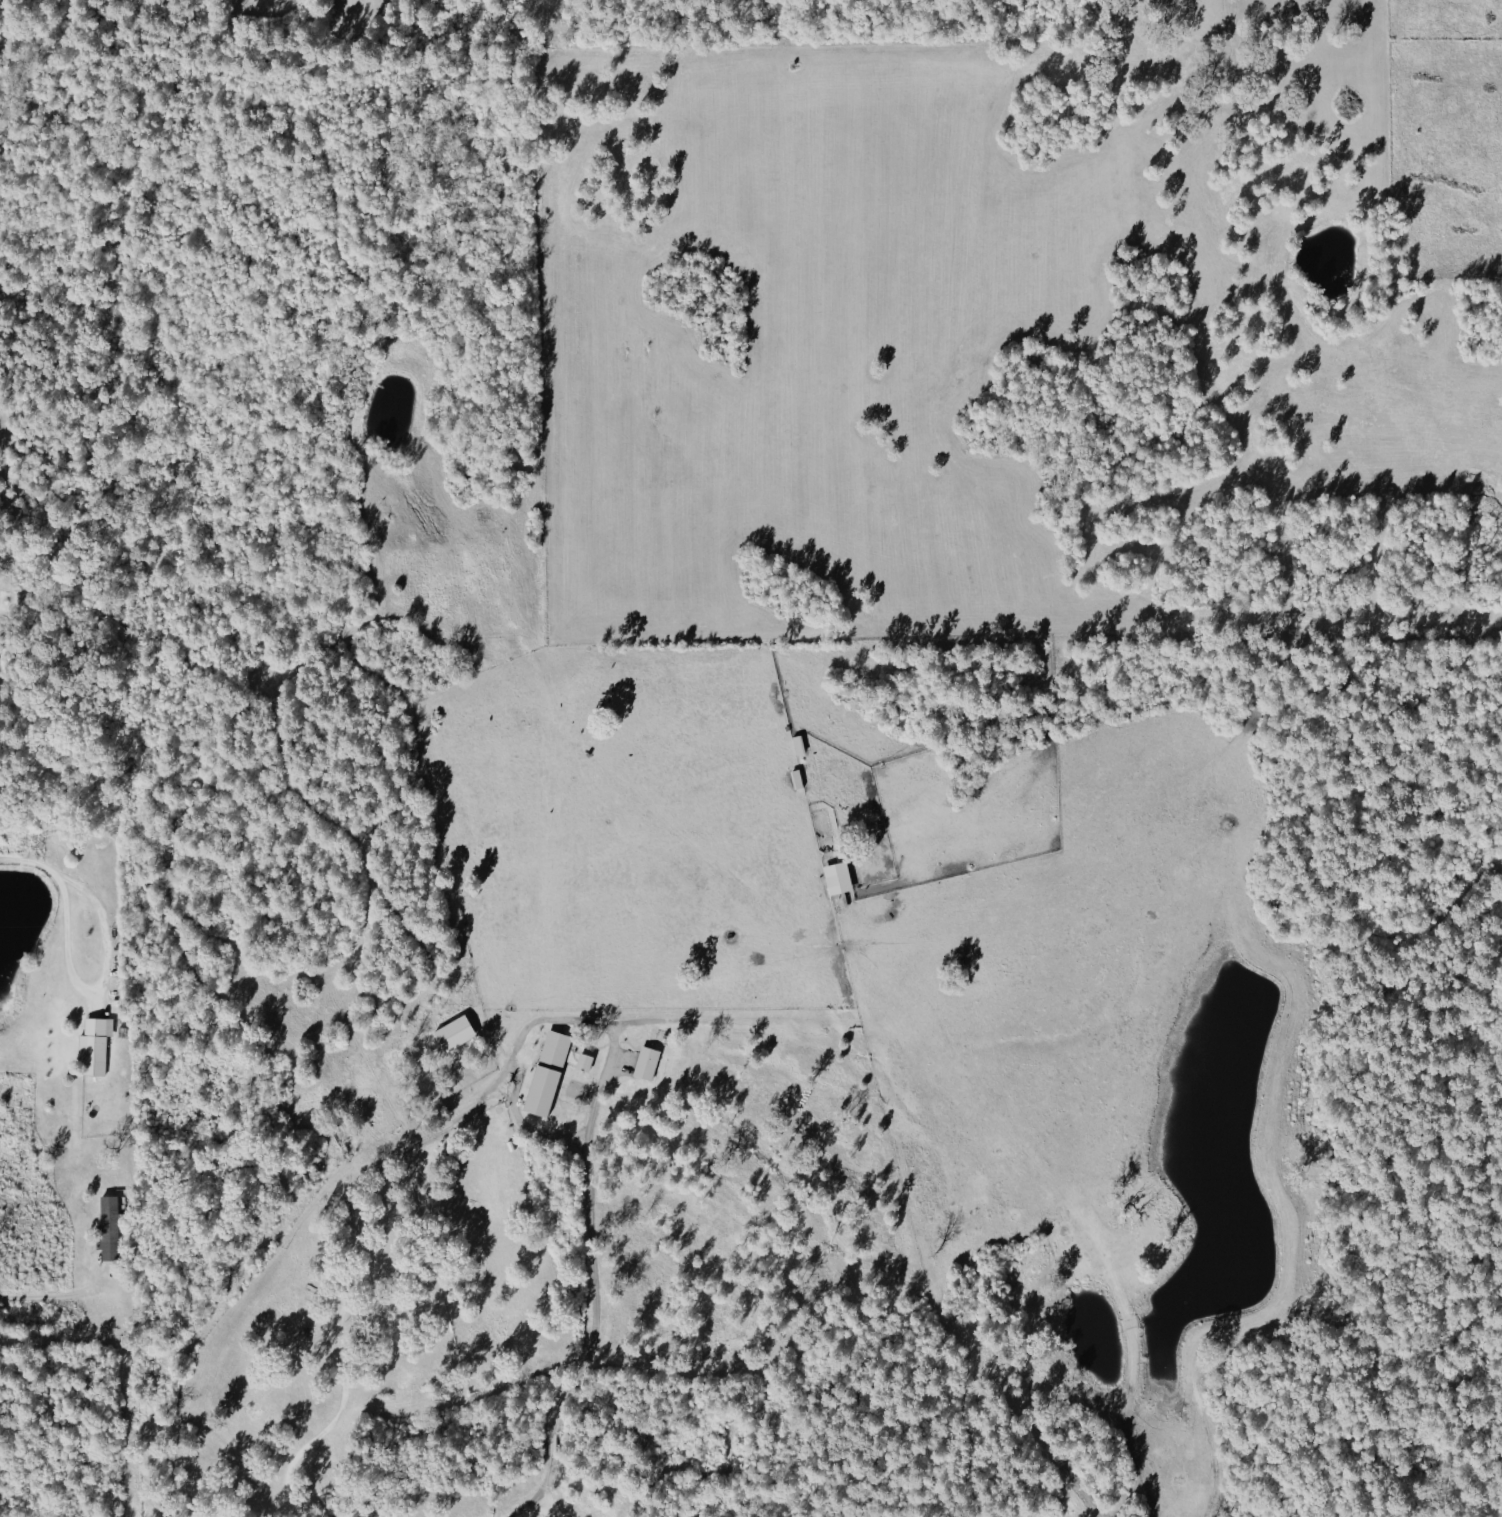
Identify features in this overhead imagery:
building: (795, 779)
road: (33, 868)
building: (835, 877)
road: (109, 994)
building: (452, 1031)
building: (93, 1045)
building: (582, 1061)
building: (644, 1061)
building: (545, 1071)
road: (395, 1150)
building: (106, 1225)
road: (49, 1302)
road: (590, 1348)
road: (524, 1505)

